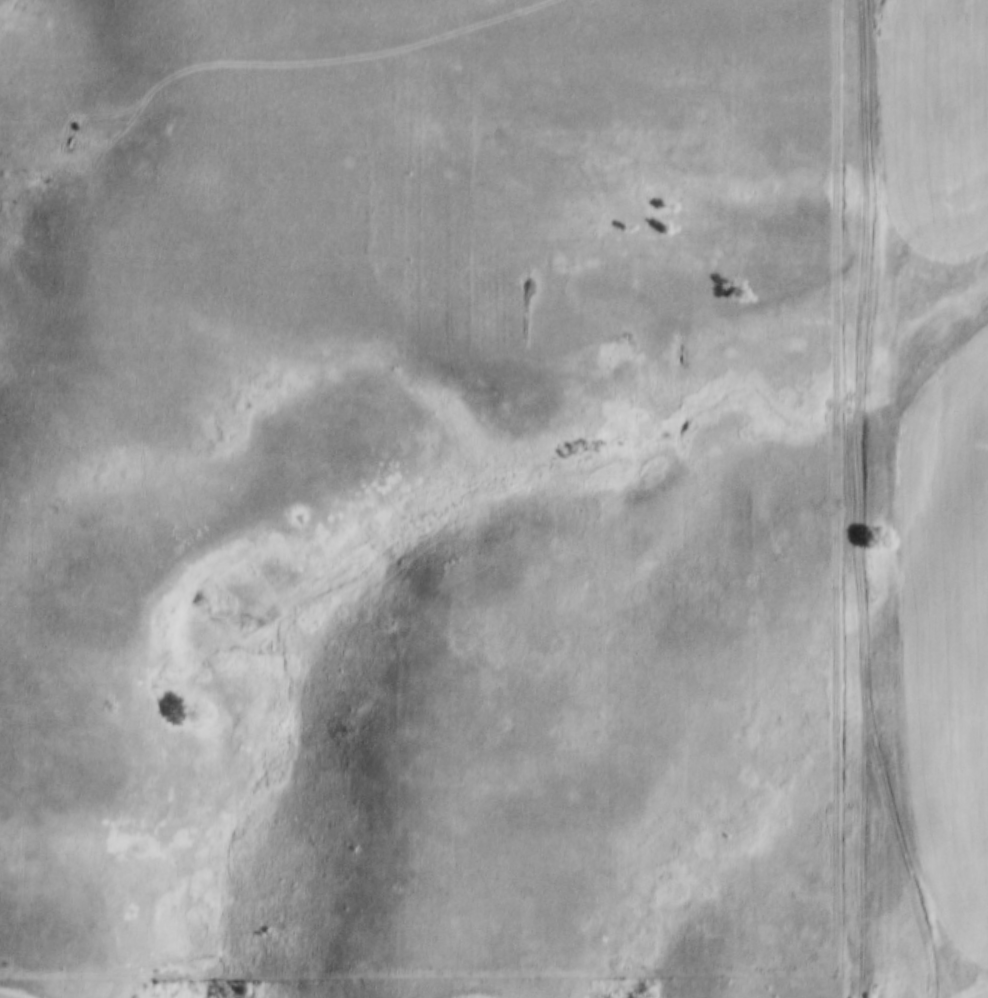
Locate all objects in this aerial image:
road: (861, 503)

